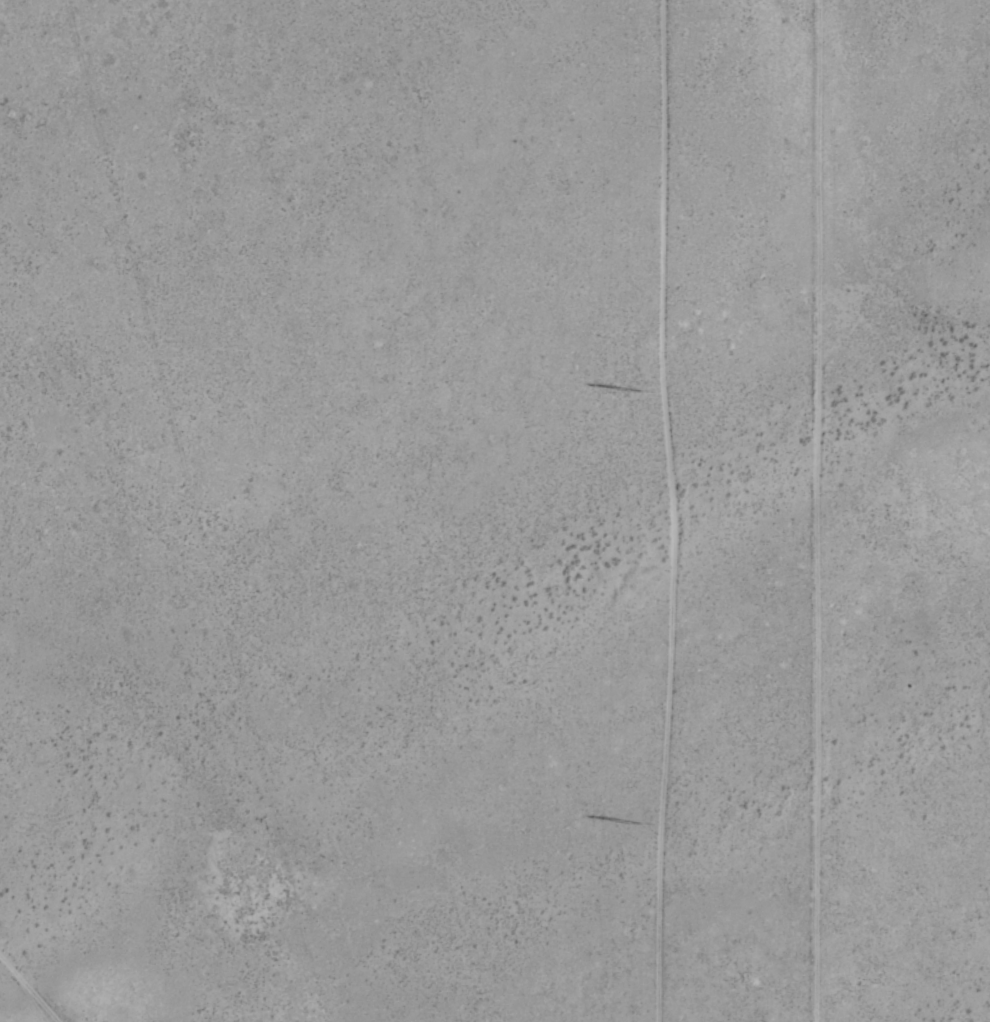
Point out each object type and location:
power tower: (636, 389)
power tower: (638, 821)
road: (10, 1008)

